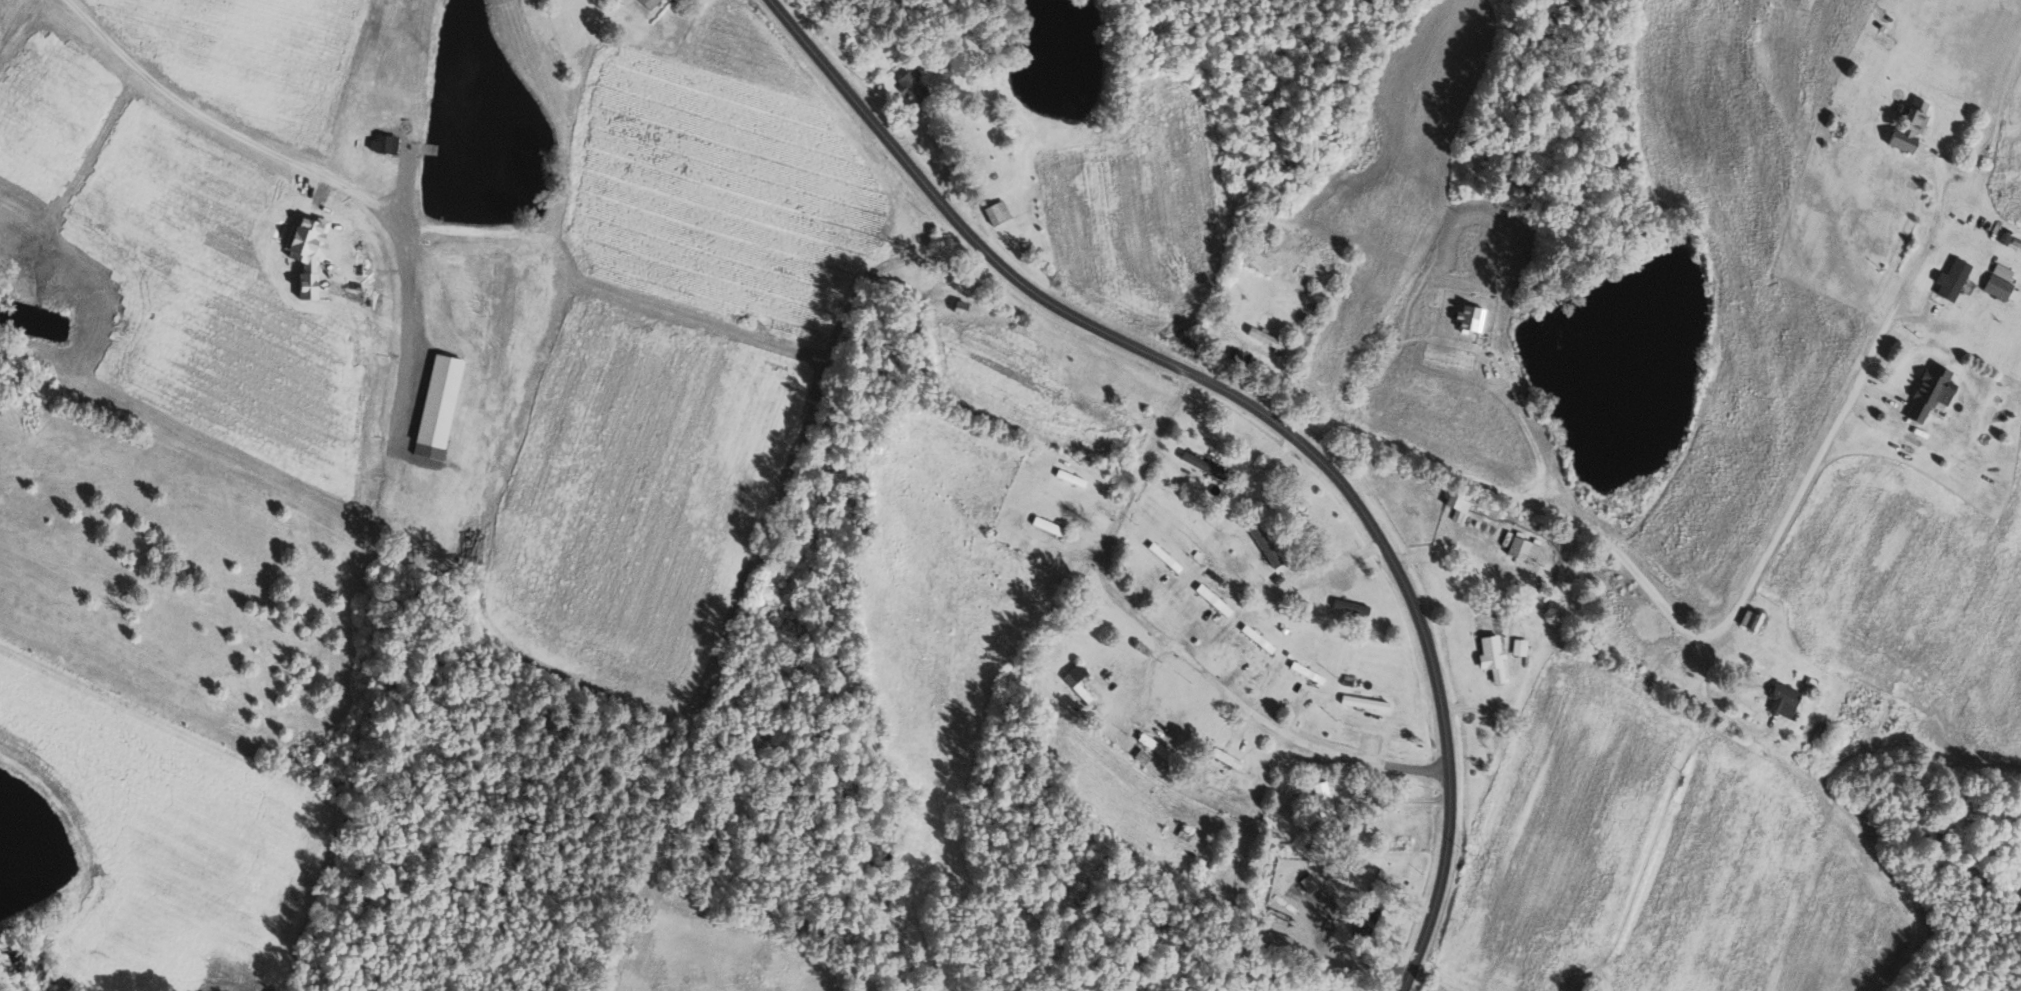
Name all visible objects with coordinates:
building: (648, 3)
building: (912, 82)
building: (1908, 126)
building: (382, 143)
road: (320, 176)
building: (995, 213)
building: (434, 266)
building: (1951, 280)
building: (1997, 287)
building: (1264, 338)
building: (1929, 391)
building: (435, 401)
road: (1256, 411)
road: (1519, 413)
building: (1199, 464)
building: (1456, 504)
building: (1264, 543)
building: (1523, 548)
building: (1215, 602)
building: (1349, 606)
road: (1512, 619)
building: (1750, 620)
road: (1719, 634)
building: (1519, 647)
road: (1167, 648)
building: (1490, 658)
building: (1076, 681)
road: (1708, 700)
building: (1782, 700)
building: (1359, 702)
building: (1322, 798)
road: (1382, 801)
building: (1305, 884)
building: (1276, 942)
road: (1343, 958)

